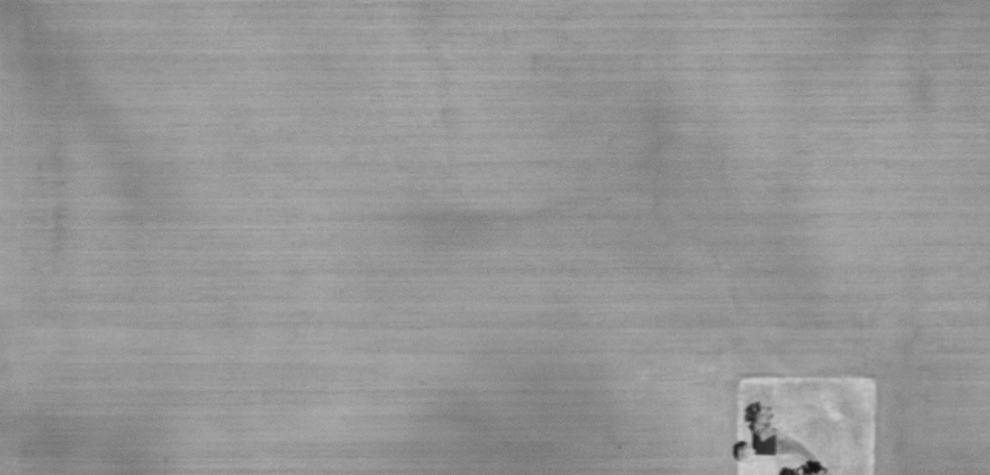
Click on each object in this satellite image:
road: (805, 460)

